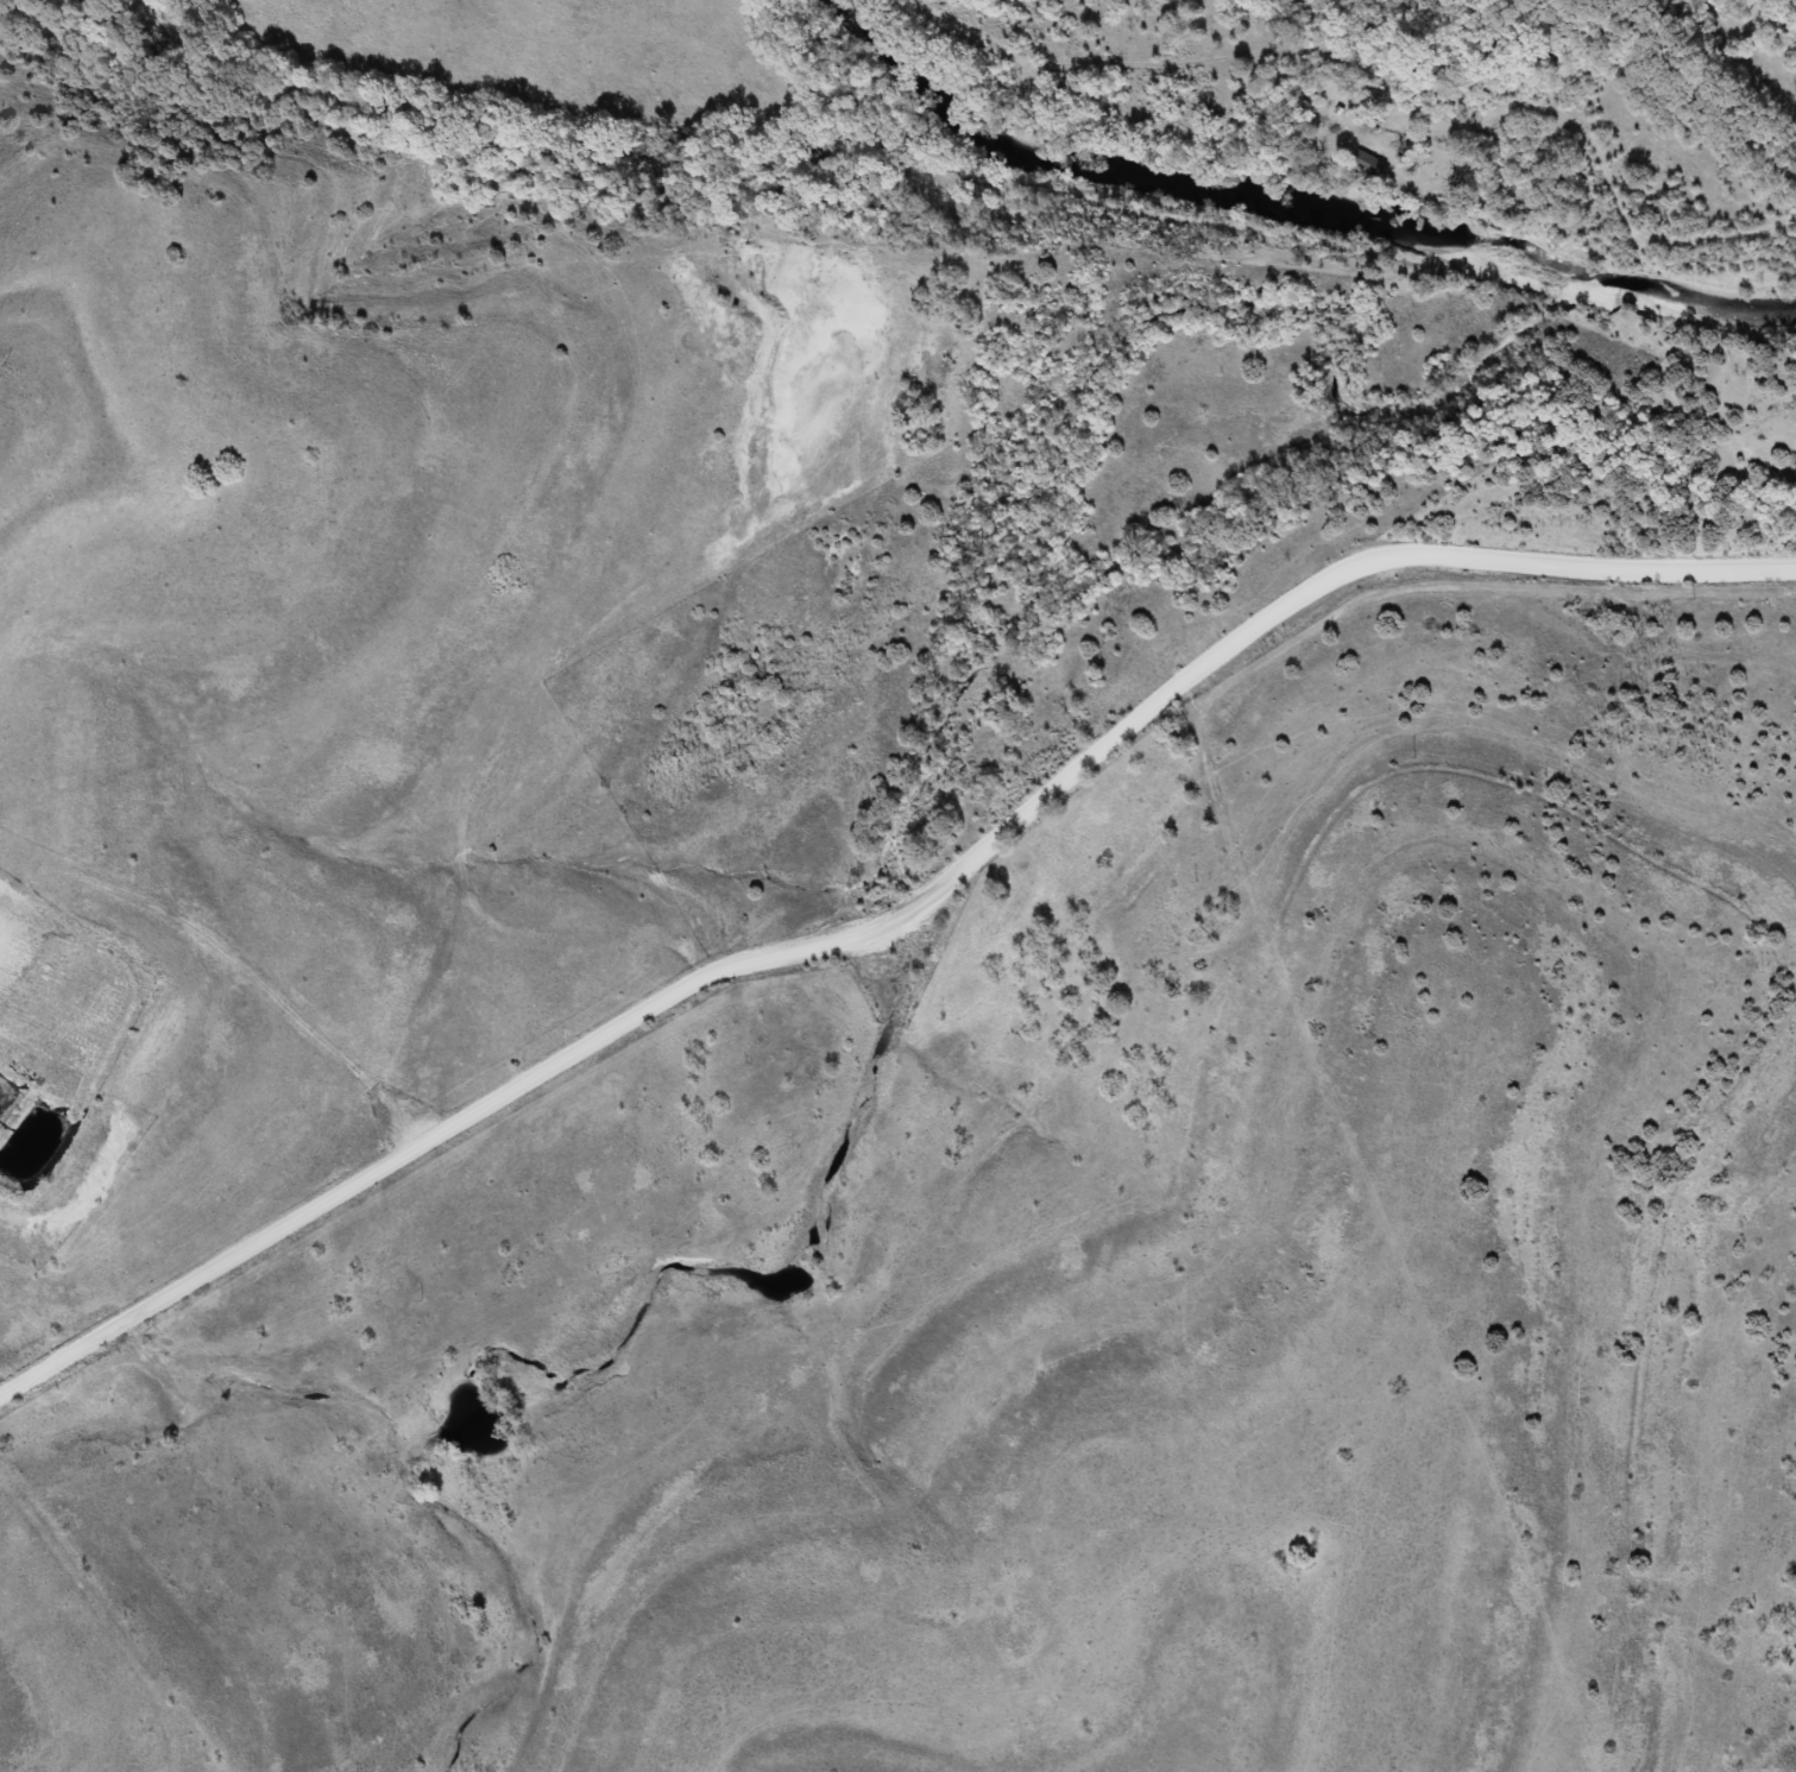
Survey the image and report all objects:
railway: (1710, 81)
building: (1367, 168)
road: (899, 922)
building: (15, 1121)
road: (965, 1184)

